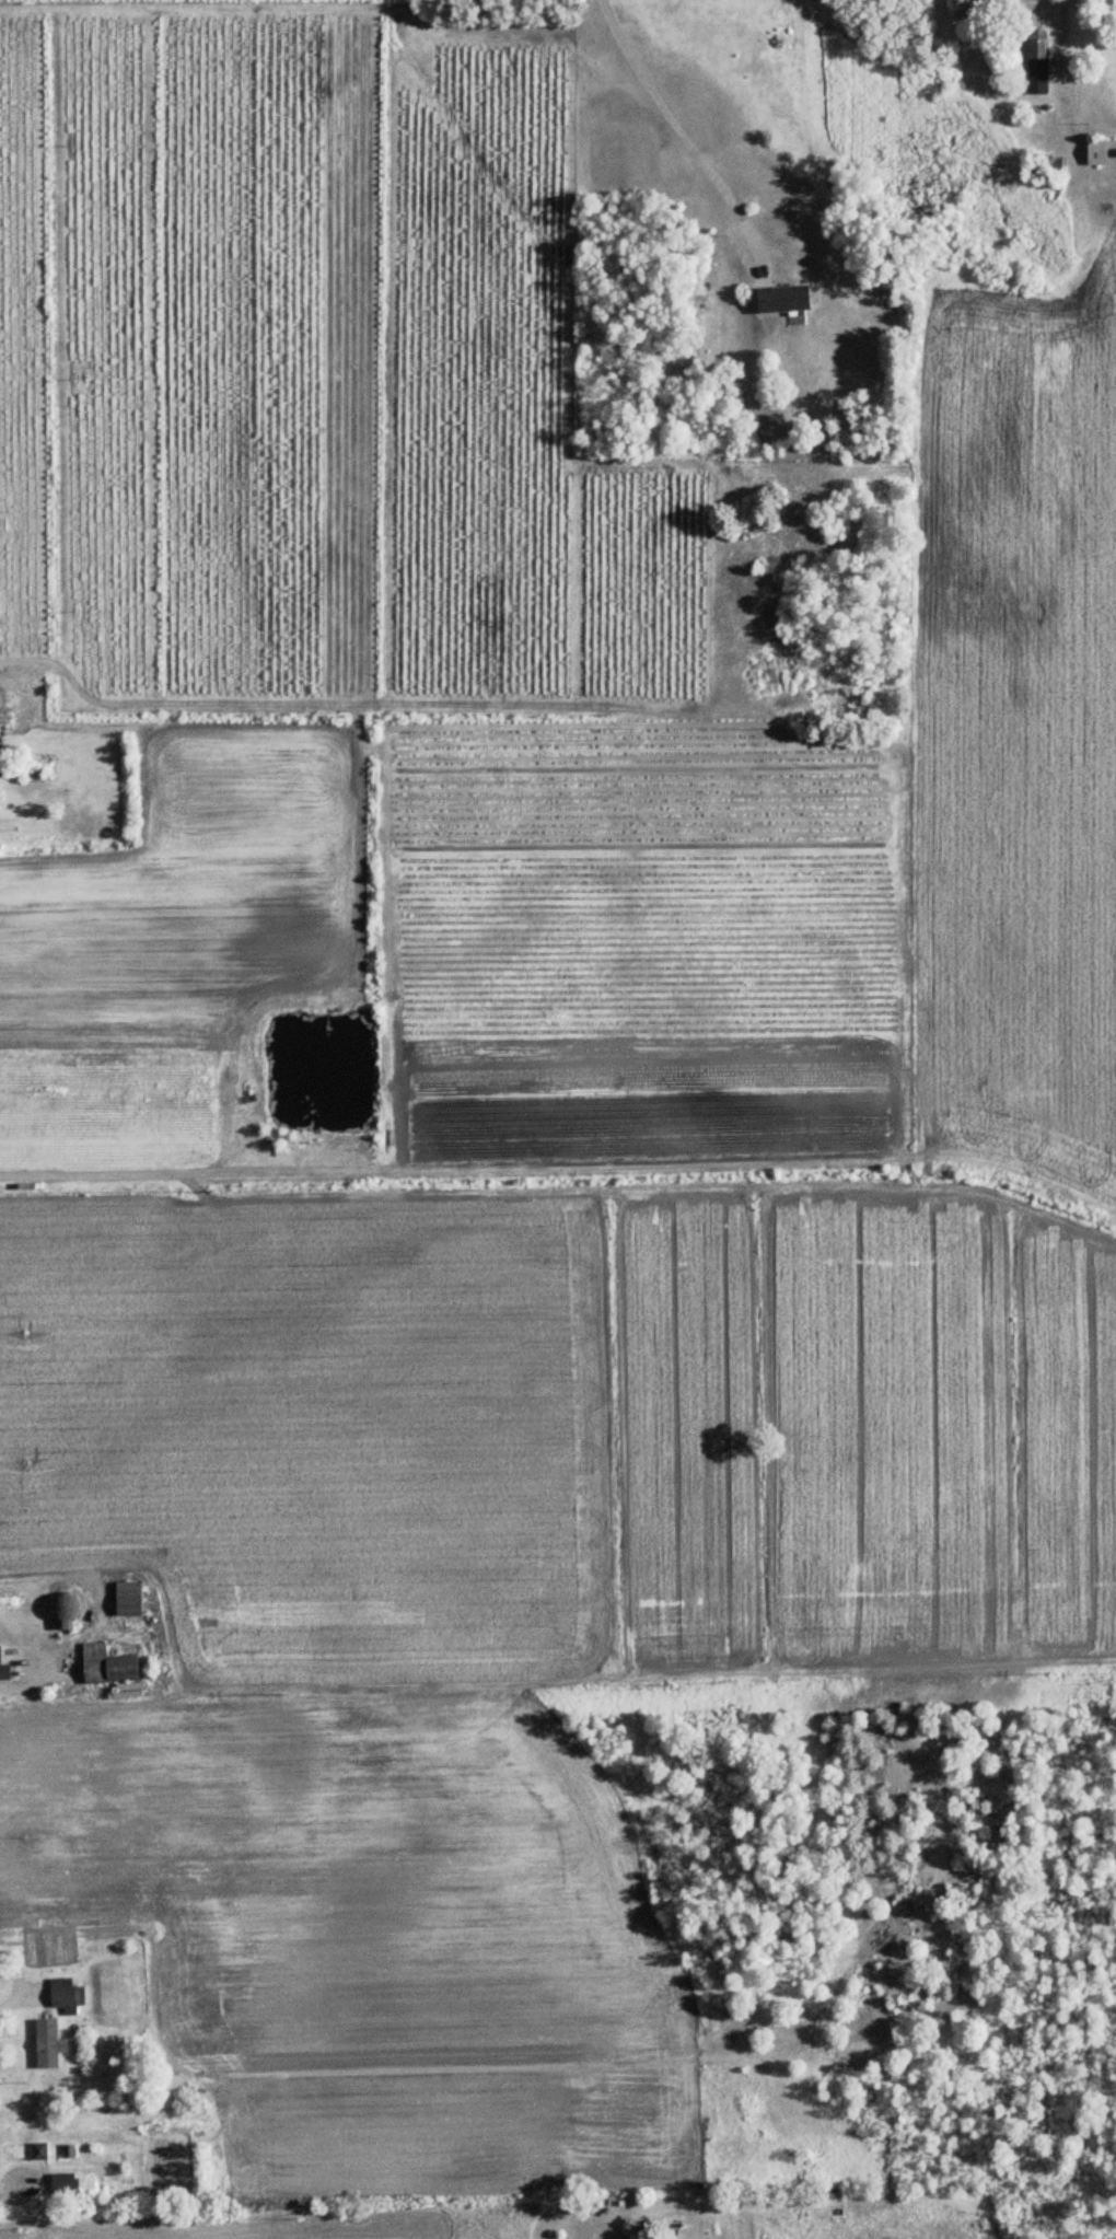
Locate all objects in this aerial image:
building: (1038, 62)
road: (685, 130)
building: (1102, 152)
building: (1050, 167)
building: (783, 299)
building: (1, 764)
building: (129, 1599)
building: (65, 1611)
building: (107, 1664)
building: (4, 1669)
building: (67, 1993)
road: (7, 2003)
building: (49, 2043)
building: (40, 2150)
road: (31, 2178)
building: (63, 2183)
building: (88, 2183)

